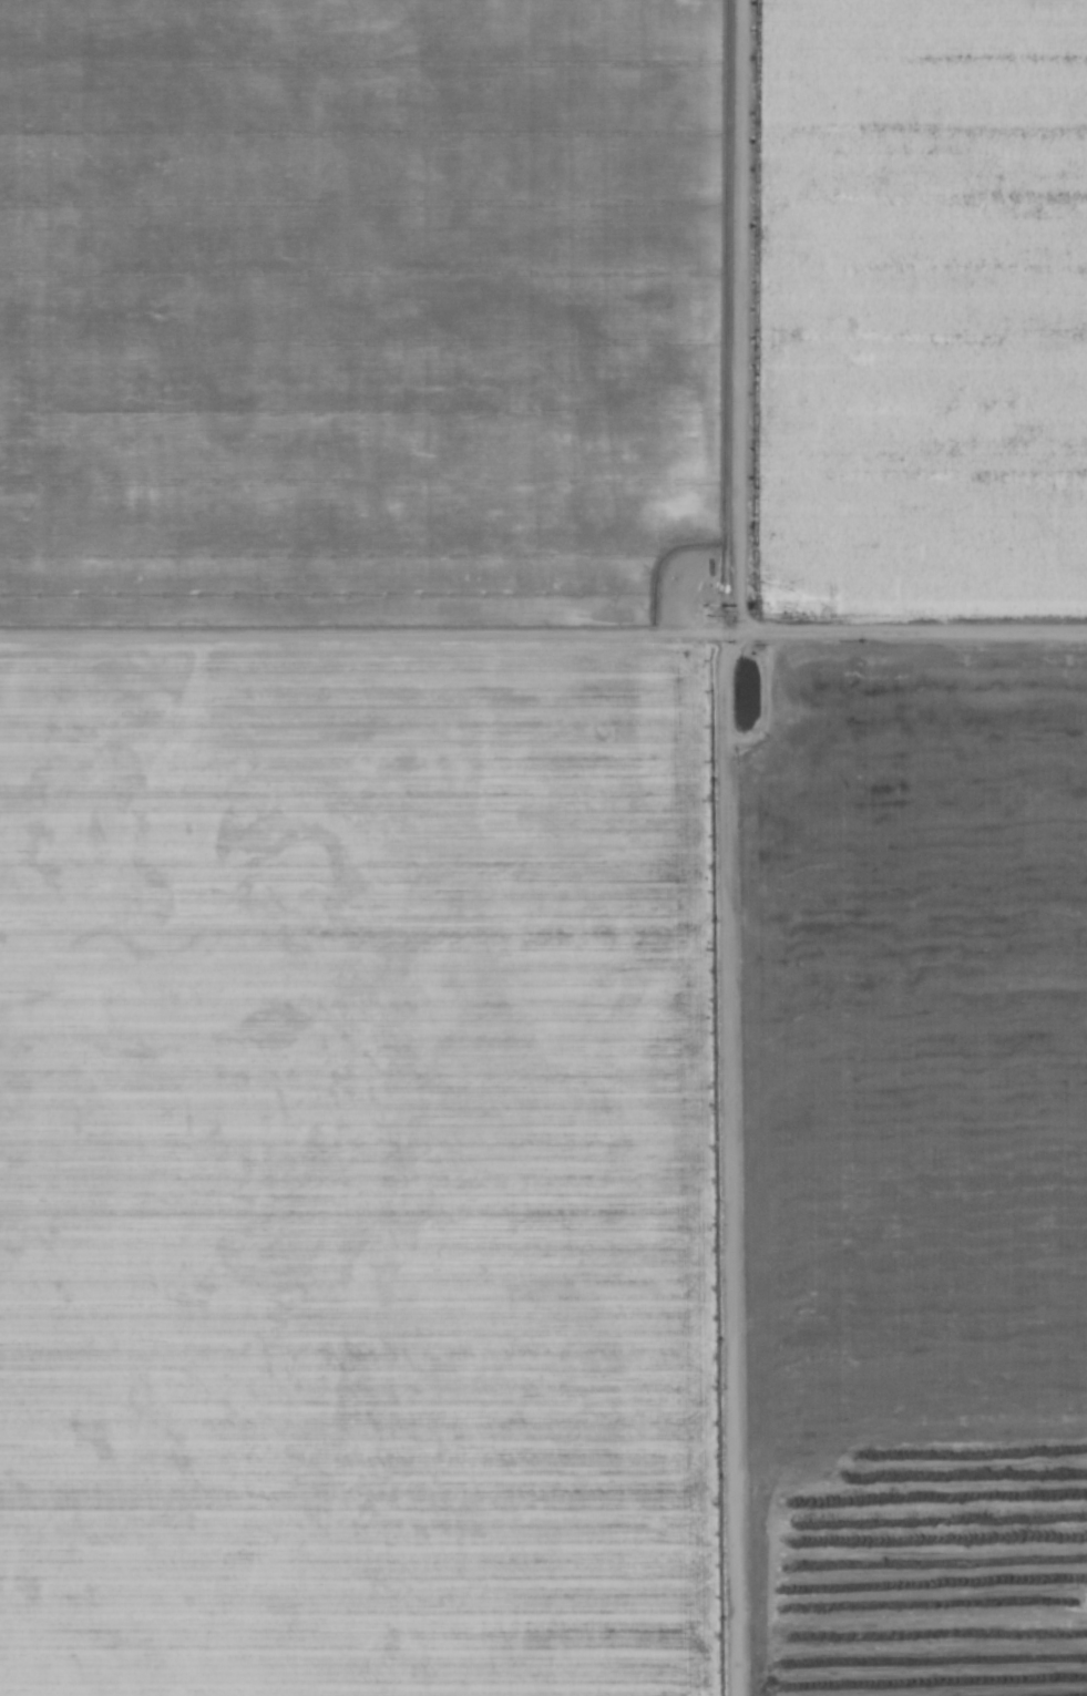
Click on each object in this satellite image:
road: (737, 316)

